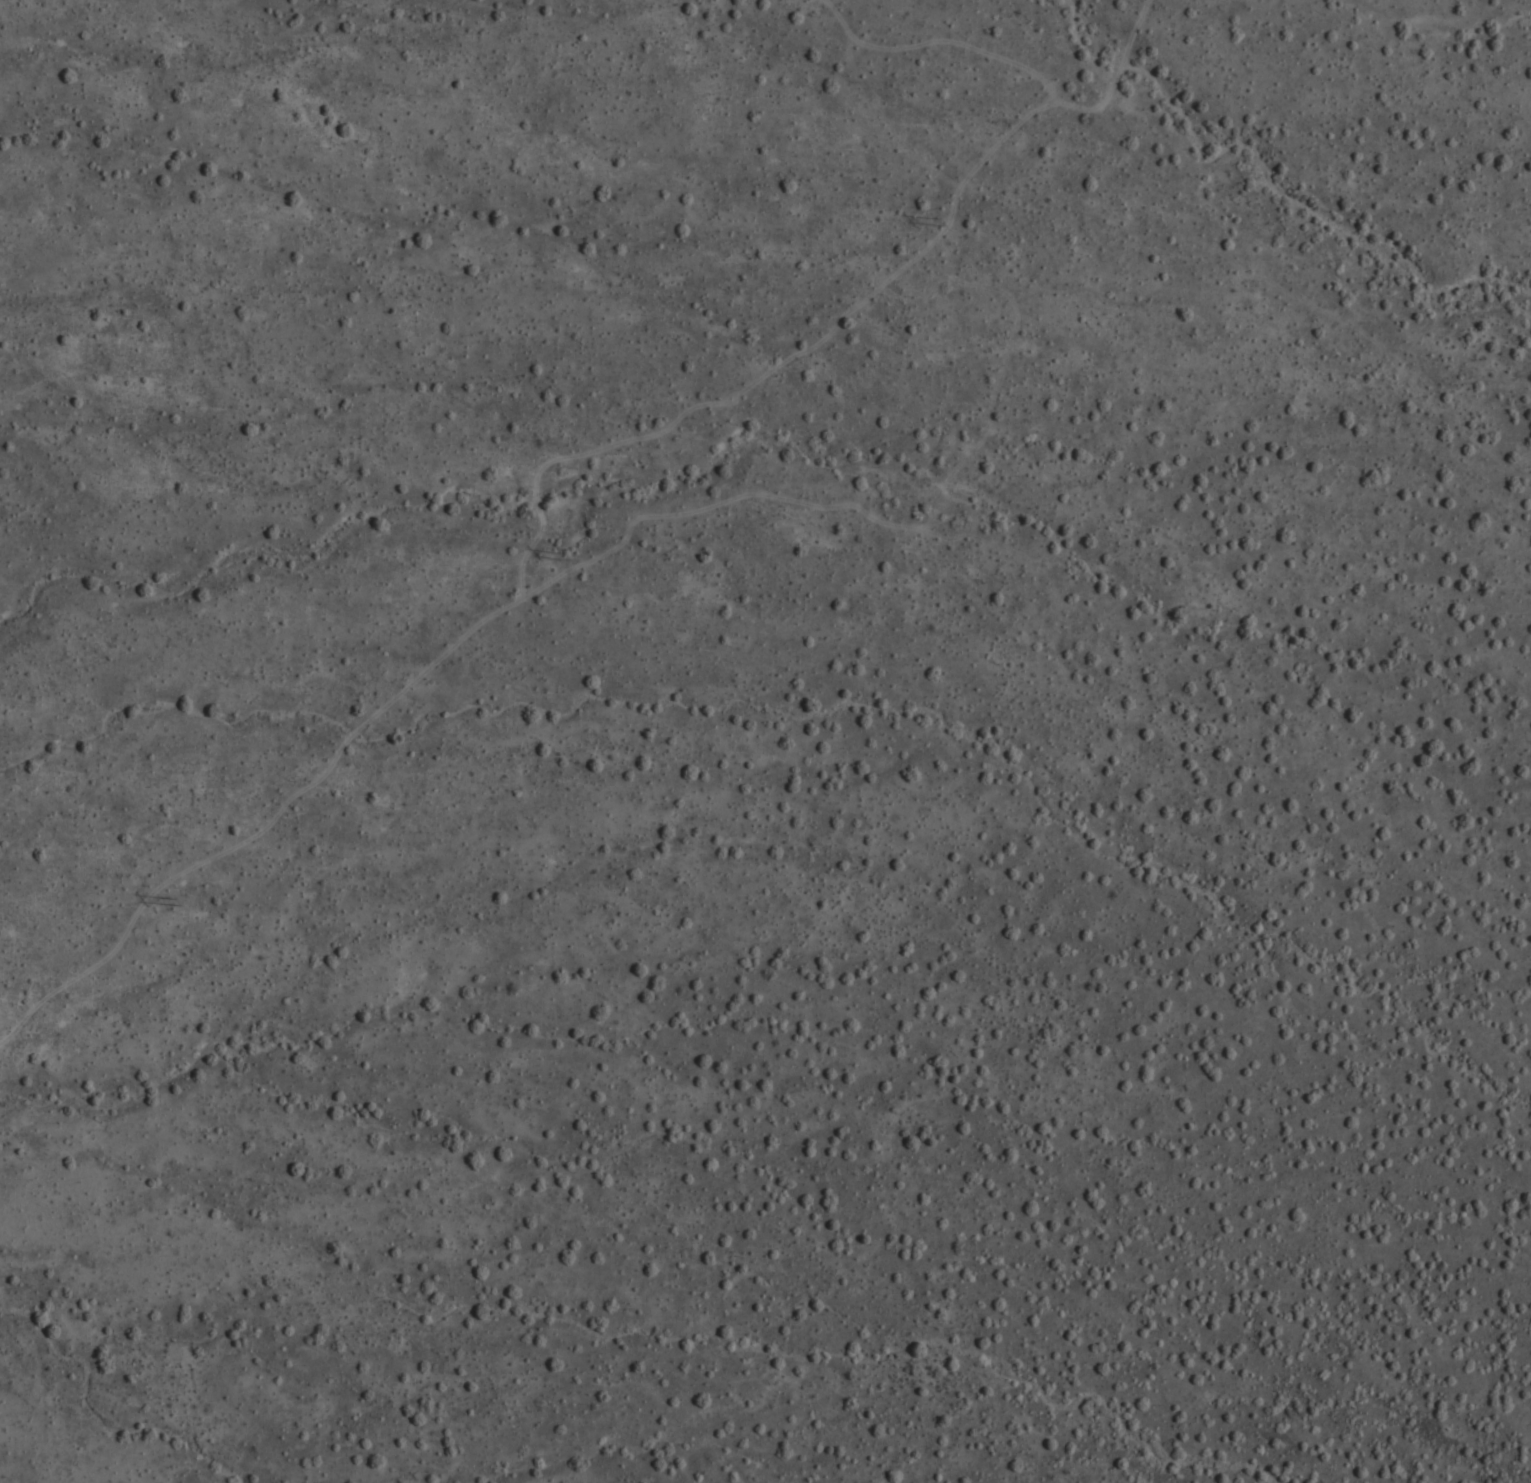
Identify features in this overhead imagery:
power tower: (935, 223)
power tower: (559, 551)
power tower: (171, 899)

